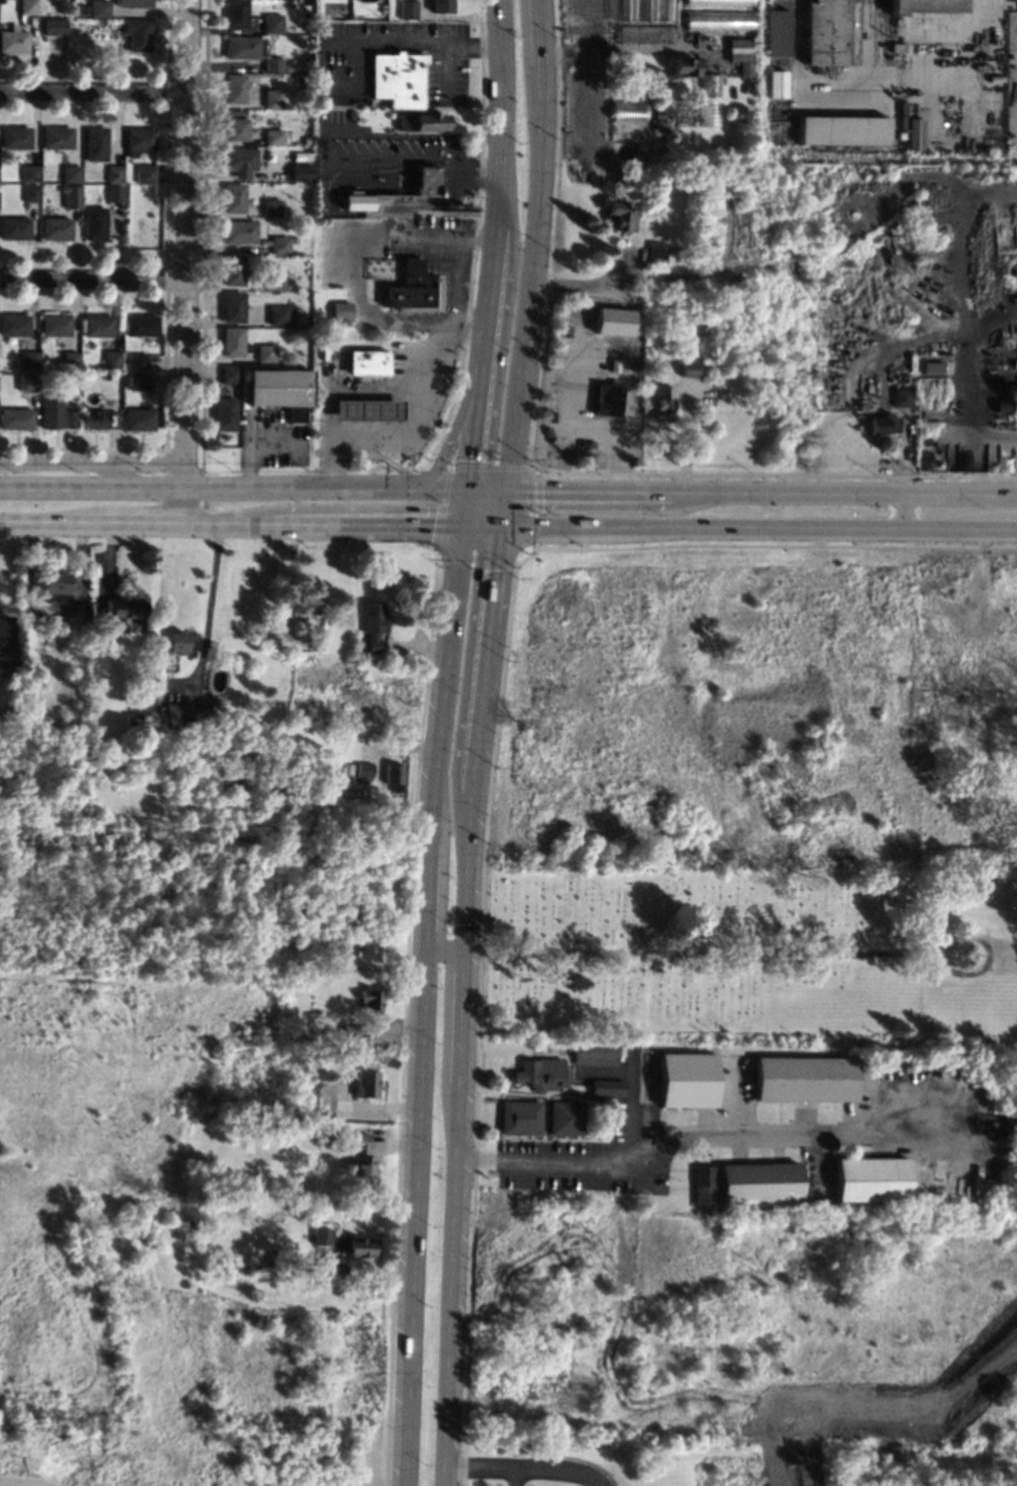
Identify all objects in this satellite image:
building: (719, 2)
building: (134, 3)
building: (440, 5)
building: (924, 5)
building: (27, 7)
building: (100, 8)
building: (406, 9)
building: (643, 10)
building: (236, 13)
building: (717, 20)
building: (272, 23)
building: (897, 23)
building: (55, 26)
building: (777, 32)
building: (826, 32)
building: (647, 33)
building: (137, 34)
building: (14, 39)
road: (432, 43)
building: (241, 47)
building: (898, 47)
building: (737, 50)
building: (272, 63)
building: (685, 65)
building: (288, 68)
building: (743, 69)
building: (397, 78)
building: (304, 82)
building: (776, 83)
airport: (884, 83)
building: (709, 85)
building: (235, 88)
road: (93, 91)
building: (273, 98)
building: (902, 107)
building: (628, 110)
building: (422, 121)
building: (902, 121)
building: (235, 126)
building: (1001, 126)
building: (843, 130)
building: (629, 131)
building: (914, 133)
building: (273, 136)
building: (900, 136)
building: (14, 137)
building: (57, 138)
building: (140, 140)
building: (305, 140)
building: (95, 143)
building: (300, 155)
building: (239, 160)
building: (30, 172)
building: (299, 172)
building: (145, 173)
building: (115, 174)
building: (69, 175)
road: (496, 192)
building: (31, 193)
building: (352, 193)
building: (115, 194)
building: (72, 196)
building: (234, 198)
building: (414, 199)
building: (271, 207)
building: (620, 216)
building: (95, 223)
building: (14, 228)
building: (56, 229)
building: (239, 231)
road: (534, 243)
building: (278, 245)
building: (658, 252)
road: (187, 263)
building: (232, 270)
road: (94, 278)
building: (276, 282)
road: (586, 284)
building: (414, 288)
building: (232, 306)
building: (341, 310)
building: (281, 314)
building: (612, 321)
building: (14, 324)
building: (55, 324)
building: (97, 325)
building: (141, 325)
building: (233, 342)
building: (265, 353)
building: (111, 358)
building: (124, 358)
building: (70, 359)
building: (27, 360)
building: (138, 362)
building: (367, 362)
building: (687, 369)
building: (229, 373)
building: (105, 375)
building: (125, 380)
building: (138, 380)
building: (27, 381)
building: (280, 391)
building: (899, 398)
building: (3, 399)
building: (607, 400)
building: (662, 403)
building: (1003, 406)
building: (367, 409)
building: (50, 413)
building: (224, 414)
building: (16, 418)
building: (97, 418)
building: (69, 419)
building: (137, 419)
building: (882, 424)
road: (413, 426)
road: (474, 435)
road: (452, 438)
road: (902, 458)
road: (93, 460)
road: (462, 485)
traffic signals: (470, 485)
road: (208, 486)
traffic signals: (506, 486)
road: (761, 489)
road: (502, 507)
road: (903, 510)
road: (249, 526)
traffic signals: (466, 527)
traffic signals: (499, 528)
road: (757, 529)
road: (493, 579)
building: (54, 581)
road: (456, 597)
building: (305, 603)
road: (208, 606)
building: (125, 609)
building: (84, 611)
building: (374, 625)
building: (68, 632)
building: (175, 642)
building: (8, 658)
road: (482, 676)
building: (43, 677)
building: (176, 712)
building: (131, 720)
building: (30, 721)
building: (45, 721)
building: (364, 768)
building: (392, 773)
road: (436, 776)
road: (427, 897)
building: (341, 947)
park: (746, 951)
road: (669, 952)
road: (987, 956)
building: (368, 1001)
building: (349, 1028)
building: (594, 1056)
building: (539, 1073)
building: (802, 1079)
building: (686, 1080)
building: (364, 1084)
building: (605, 1087)
road: (458, 1103)
building: (520, 1117)
building: (564, 1118)
road: (777, 1137)
parking lot: (590, 1158)
building: (359, 1160)
road: (574, 1161)
building: (867, 1179)
building: (758, 1181)
building: (702, 1184)
road: (413, 1217)
building: (320, 1235)
building: (357, 1246)
building: (254, 1270)
road: (356, 1274)
road: (523, 1468)
road: (514, 1477)

